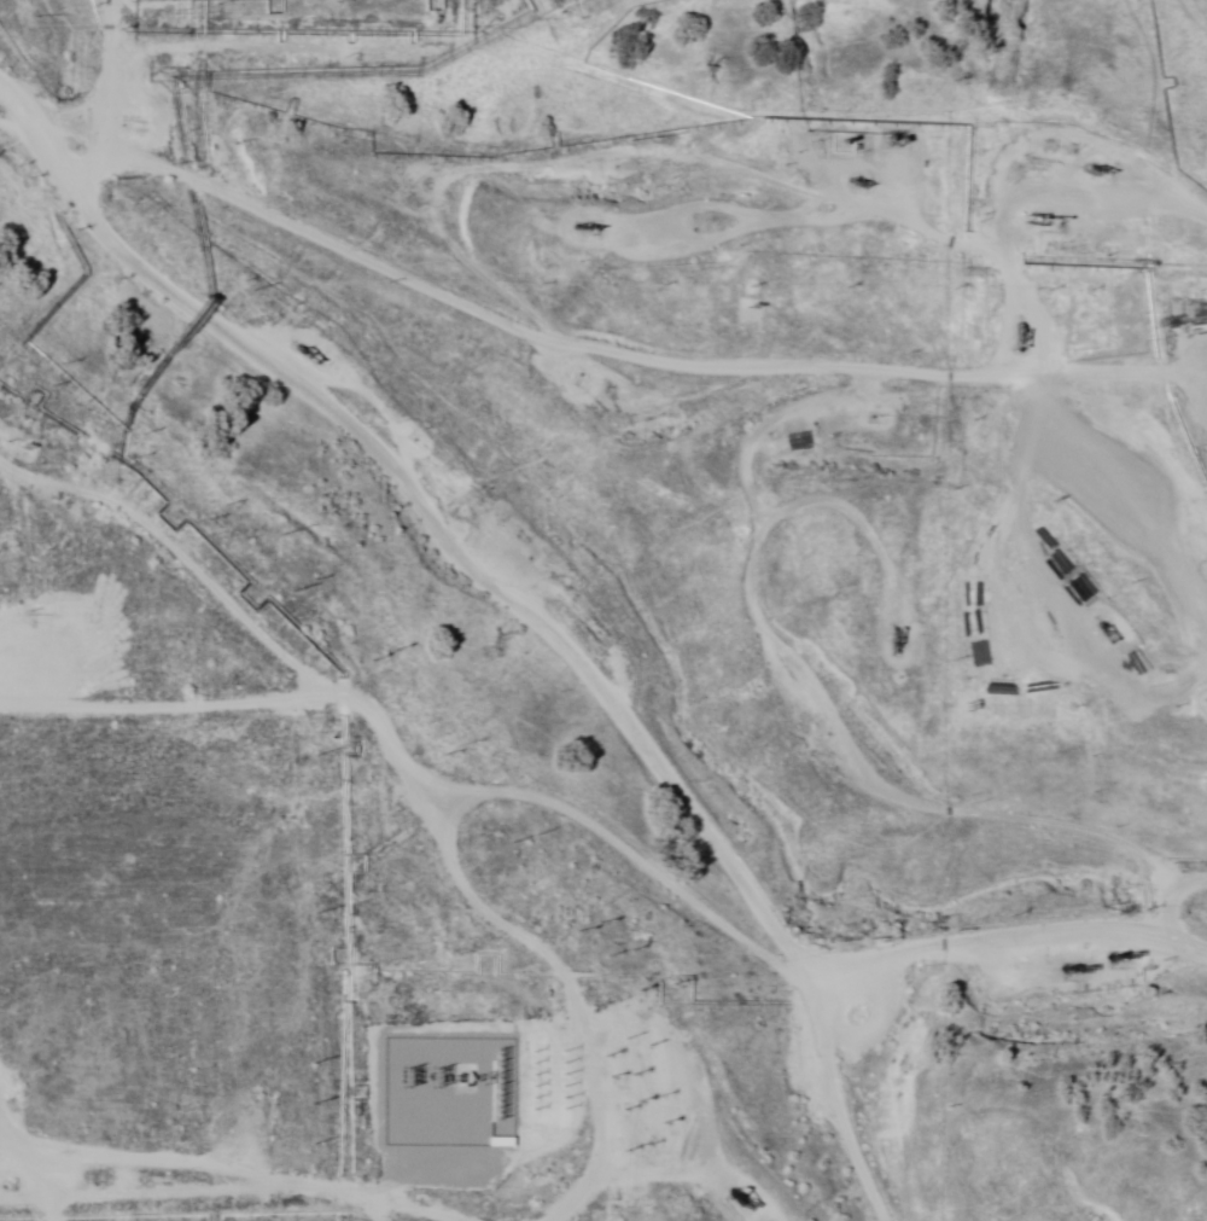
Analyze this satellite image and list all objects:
road: (83, 11)
road: (806, 13)
road: (58, 80)
road: (658, 170)
road: (538, 391)
road: (1026, 415)
road: (1074, 512)
road: (363, 575)
road: (1049, 598)
building: (0, 725)
road: (838, 752)
road: (240, 754)
road: (610, 862)
road: (788, 1070)
road: (620, 1088)
road: (524, 1097)
road: (295, 1156)
road: (465, 1184)

